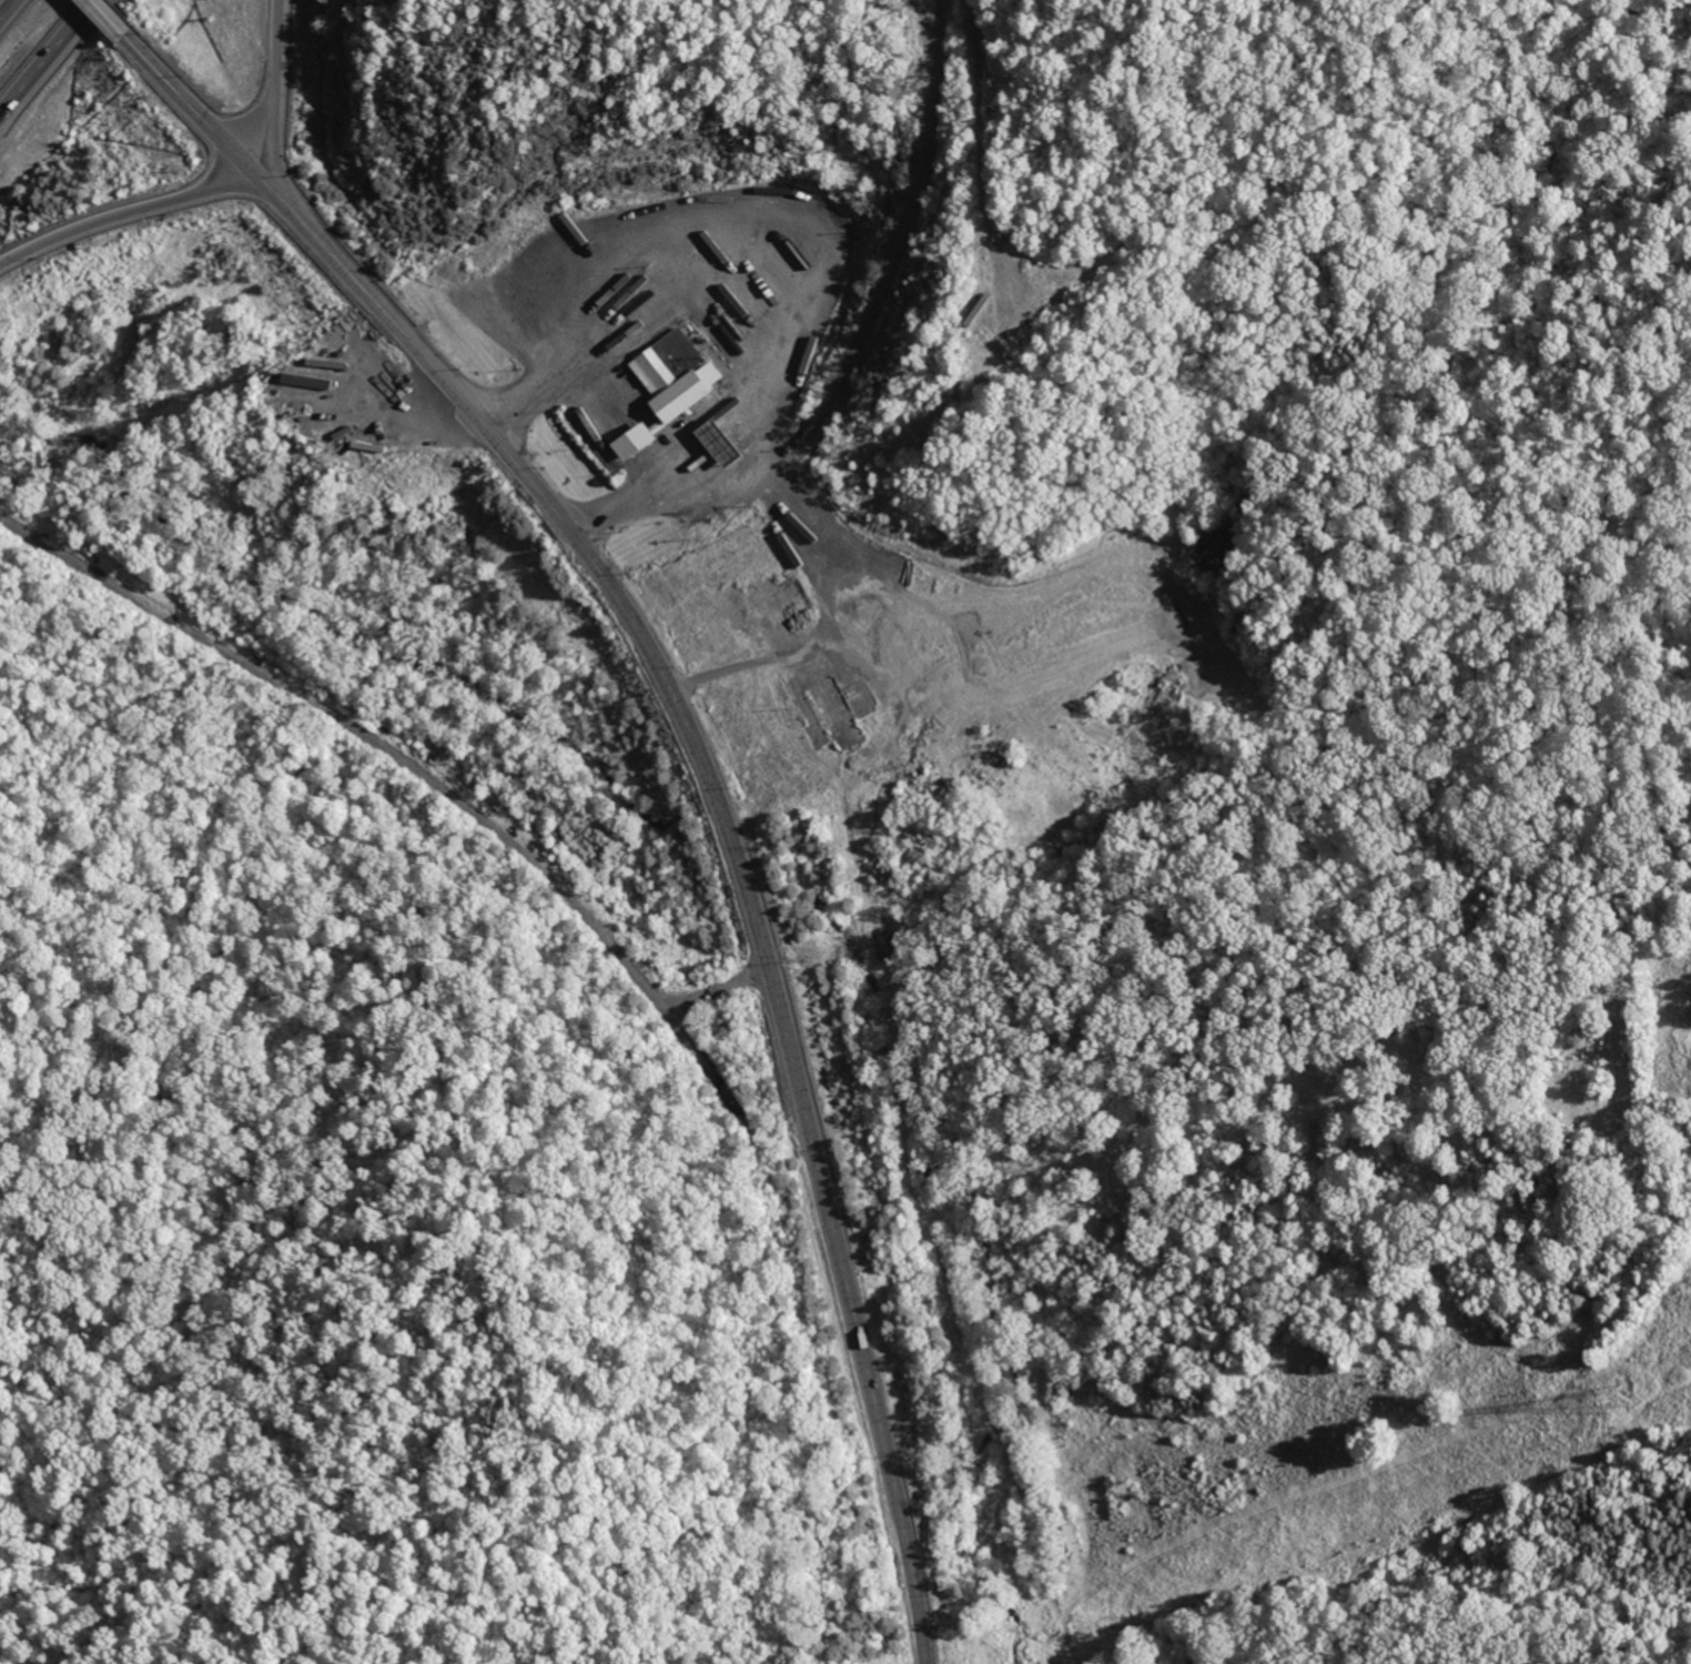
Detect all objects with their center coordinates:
road: (6, 7)
road: (117, 26)
road: (49, 61)
road: (274, 85)
road: (273, 148)
road: (123, 215)
road: (777, 253)
building: (634, 314)
building: (671, 376)
road: (814, 392)
building: (631, 442)
road: (393, 765)
road: (708, 770)
power tower: (1616, 1398)

